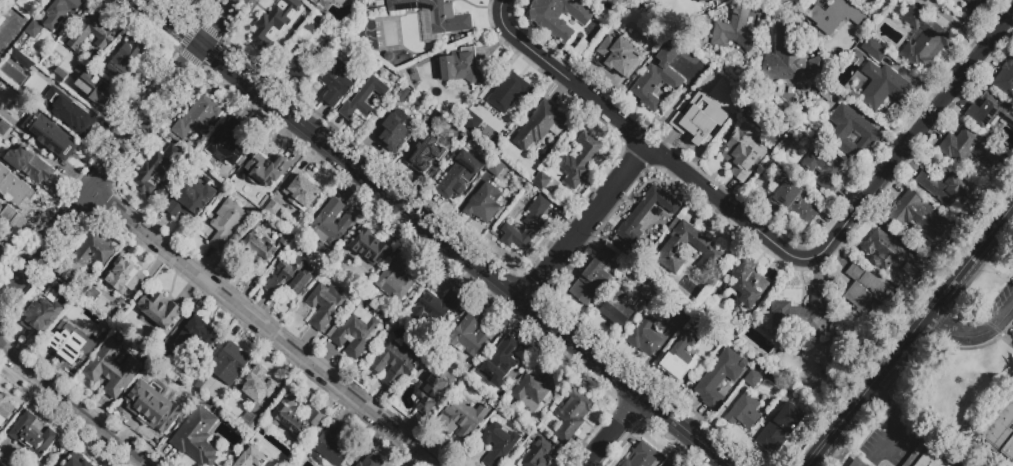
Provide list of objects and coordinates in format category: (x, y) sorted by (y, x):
building: (43, 0)
road: (50, 1)
building: (315, 1)
building: (708, 1)
road: (150, 2)
road: (109, 6)
building: (973, 6)
building: (61, 12)
building: (435, 14)
building: (834, 16)
building: (557, 17)
building: (27, 23)
building: (273, 24)
building: (308, 32)
building: (734, 32)
building: (92, 33)
building: (923, 40)
building: (8, 42)
road: (523, 44)
building: (872, 50)
building: (617, 55)
building: (784, 56)
building: (20, 59)
building: (122, 61)
building: (680, 61)
building: (459, 67)
building: (298, 71)
building: (817, 73)
building: (711, 76)
building: (58, 77)
building: (656, 78)
building: (30, 79)
road: (269, 79)
building: (1005, 79)
building: (335, 80)
building: (884, 87)
building: (94, 88)
building: (509, 92)
building: (828, 94)
building: (40, 99)
building: (363, 99)
building: (9, 105)
road: (251, 106)
road: (608, 112)
building: (988, 112)
building: (68, 114)
building: (198, 118)
building: (396, 123)
building: (471, 124)
building: (696, 124)
building: (540, 126)
road: (923, 126)
road: (330, 128)
road: (304, 129)
building: (4, 130)
building: (852, 132)
building: (55, 141)
building: (227, 143)
road: (360, 148)
building: (971, 148)
building: (427, 149)
road: (119, 150)
building: (742, 151)
building: (580, 160)
building: (30, 164)
building: (496, 168)
building: (156, 169)
road: (299, 169)
building: (826, 170)
building: (262, 173)
building: (459, 174)
road: (399, 176)
building: (542, 181)
road: (697, 183)
road: (352, 186)
building: (13, 187)
building: (944, 187)
building: (302, 193)
building: (190, 200)
road: (463, 204)
building: (483, 204)
building: (793, 204)
building: (272, 209)
road: (430, 209)
building: (10, 216)
building: (643, 216)
building: (917, 216)
road: (586, 221)
building: (226, 224)
building: (331, 224)
building: (535, 225)
road: (398, 226)
road: (438, 233)
road: (418, 238)
building: (0, 246)
building: (258, 247)
building: (369, 247)
building: (674, 247)
building: (0, 248)
building: (889, 252)
road: (789, 254)
building: (86, 260)
building: (290, 276)
road: (468, 276)
building: (121, 277)
building: (396, 277)
building: (593, 277)
building: (749, 284)
building: (865, 289)
building: (649, 292)
road: (491, 294)
building: (325, 305)
building: (434, 309)
building: (618, 310)
building: (159, 311)
building: (44, 313)
building: (801, 316)
road: (522, 319)
building: (678, 319)
road: (924, 321)
road: (260, 328)
building: (468, 333)
road: (623, 333)
building: (357, 334)
building: (196, 336)
building: (644, 338)
road: (973, 338)
building: (70, 342)
road: (918, 343)
building: (97, 344)
building: (710, 348)
building: (681, 354)
building: (163, 356)
road: (569, 356)
road: (652, 358)
building: (396, 363)
building: (499, 363)
building: (230, 364)
building: (718, 378)
building: (752, 379)
building: (198, 380)
building: (255, 387)
building: (432, 388)
building: (534, 390)
road: (675, 394)
building: (159, 401)
building: (3, 405)
road: (75, 407)
building: (744, 412)
road: (723, 413)
building: (294, 415)
building: (571, 416)
building: (462, 419)
road: (698, 420)
road: (895, 421)
building: (250, 422)
building: (778, 428)
road: (613, 429)
building: (1002, 431)
building: (30, 436)
building: (196, 437)
building: (498, 442)
building: (330, 448)
road: (678, 448)
road: (822, 450)
building: (538, 454)
building: (641, 457)
road: (751, 457)
building: (251, 458)
building: (932, 459)
building: (78, 460)
building: (372, 461)
road: (717, 461)
building: (857, 462)
building: (0, 465)
building: (665, 465)
building: (670, 465)

